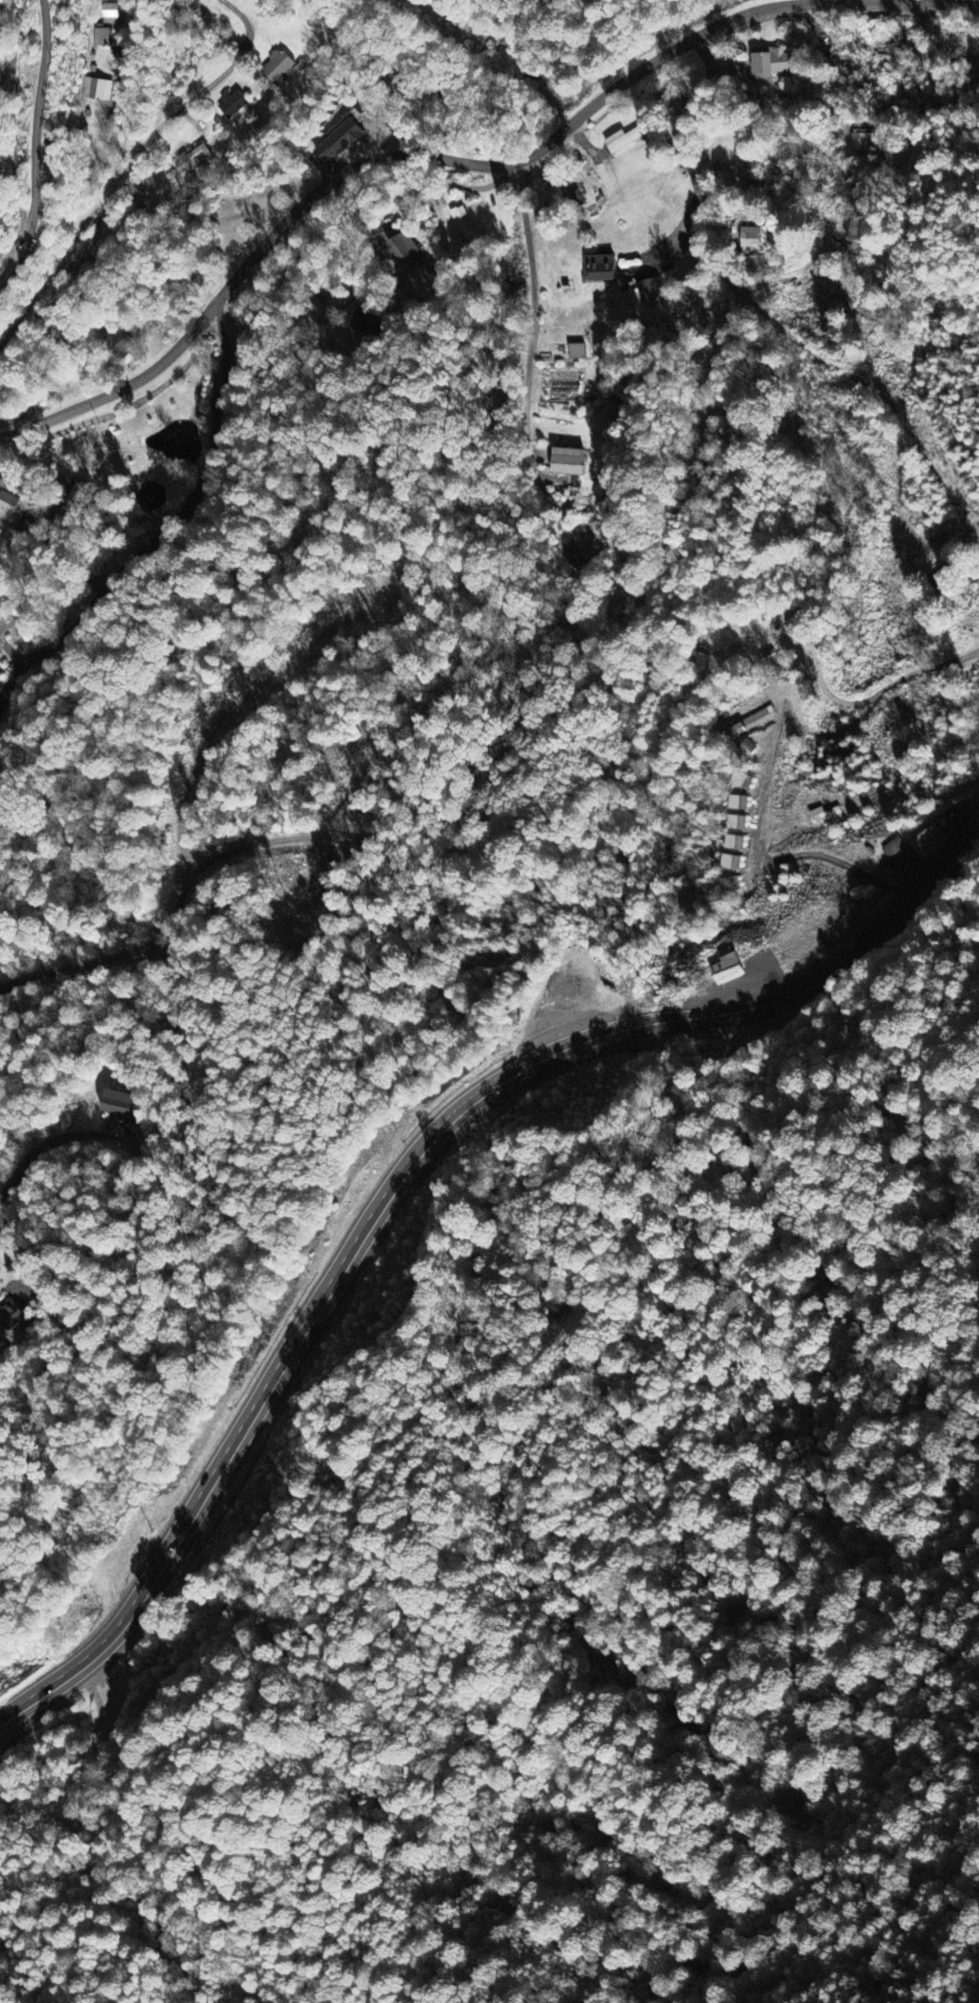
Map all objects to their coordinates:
road: (229, 6)
building: (111, 14)
building: (104, 36)
building: (772, 64)
building: (280, 69)
building: (98, 90)
road: (110, 94)
road: (177, 101)
building: (233, 104)
road: (16, 116)
building: (622, 141)
building: (866, 141)
building: (339, 142)
road: (36, 146)
building: (196, 158)
road: (462, 159)
road: (693, 179)
building: (570, 199)
road: (667, 244)
building: (406, 250)
road: (54, 262)
road: (809, 265)
building: (599, 269)
building: (649, 290)
road: (532, 346)
building: (577, 352)
building: (568, 462)
building: (10, 497)
road: (166, 527)
building: (588, 549)
road: (849, 700)
building: (753, 722)
building: (743, 780)
building: (739, 803)
road: (183, 815)
building: (824, 815)
building: (737, 822)
building: (930, 840)
building: (735, 842)
building: (894, 847)
road: (792, 854)
building: (732, 862)
building: (728, 969)
building: (121, 1105)
road: (59, 1138)
road: (401, 1182)
road: (26, 1247)
building: (12, 1316)

